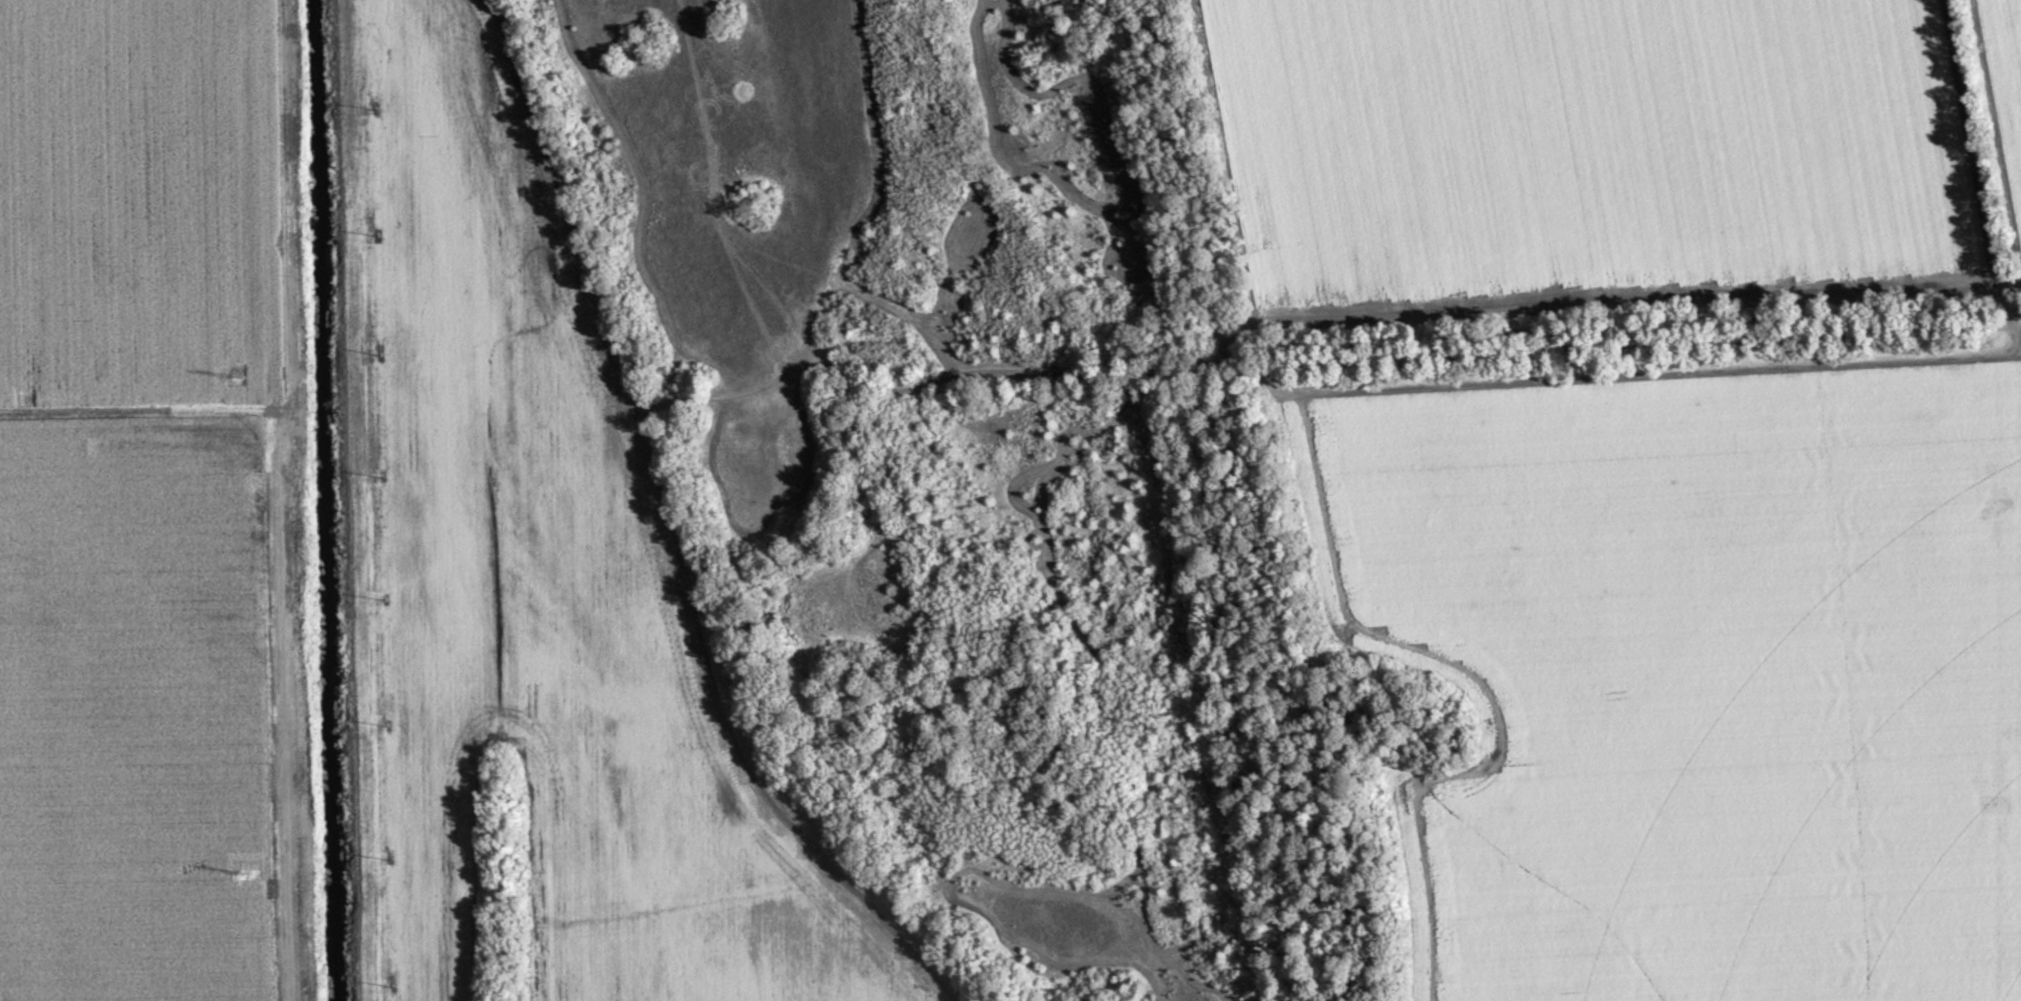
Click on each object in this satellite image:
road: (1979, 160)

